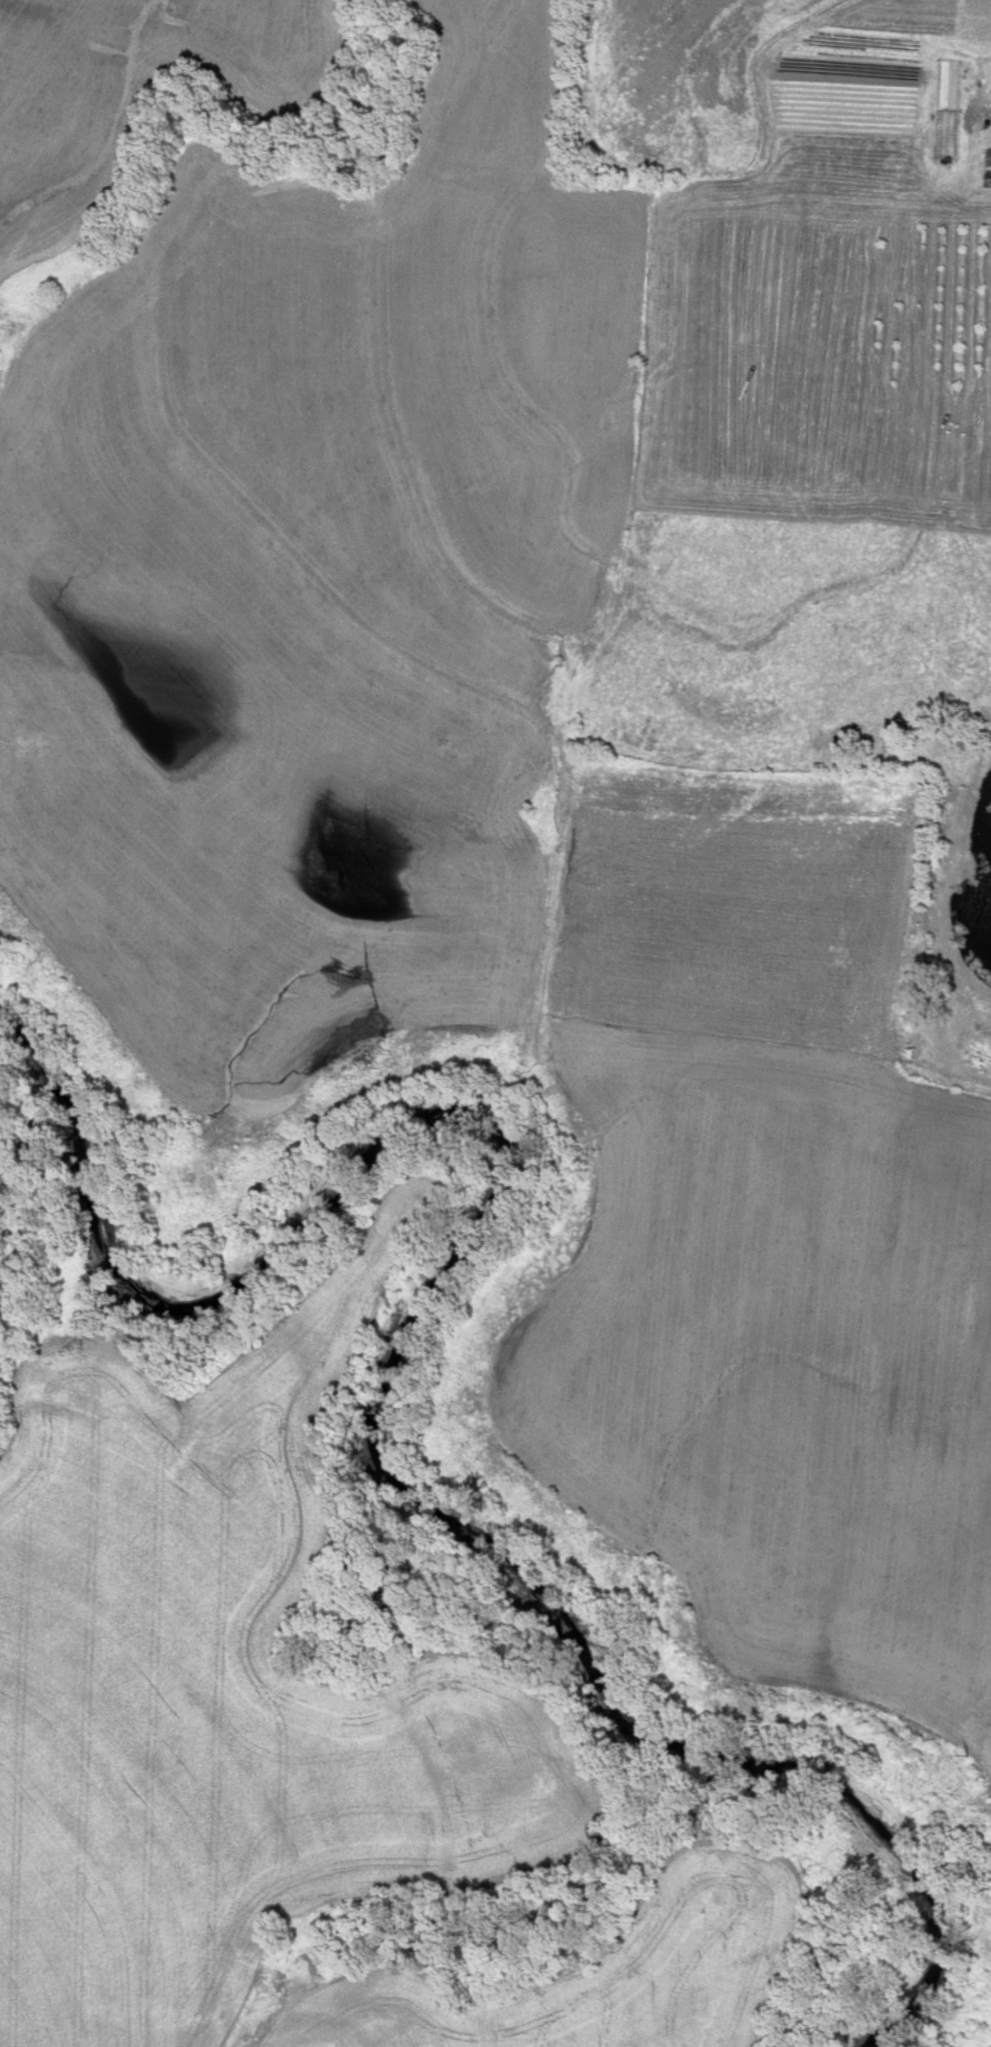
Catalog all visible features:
building: (916, 117)
building: (986, 158)
building: (986, 179)
river: (389, 1356)

